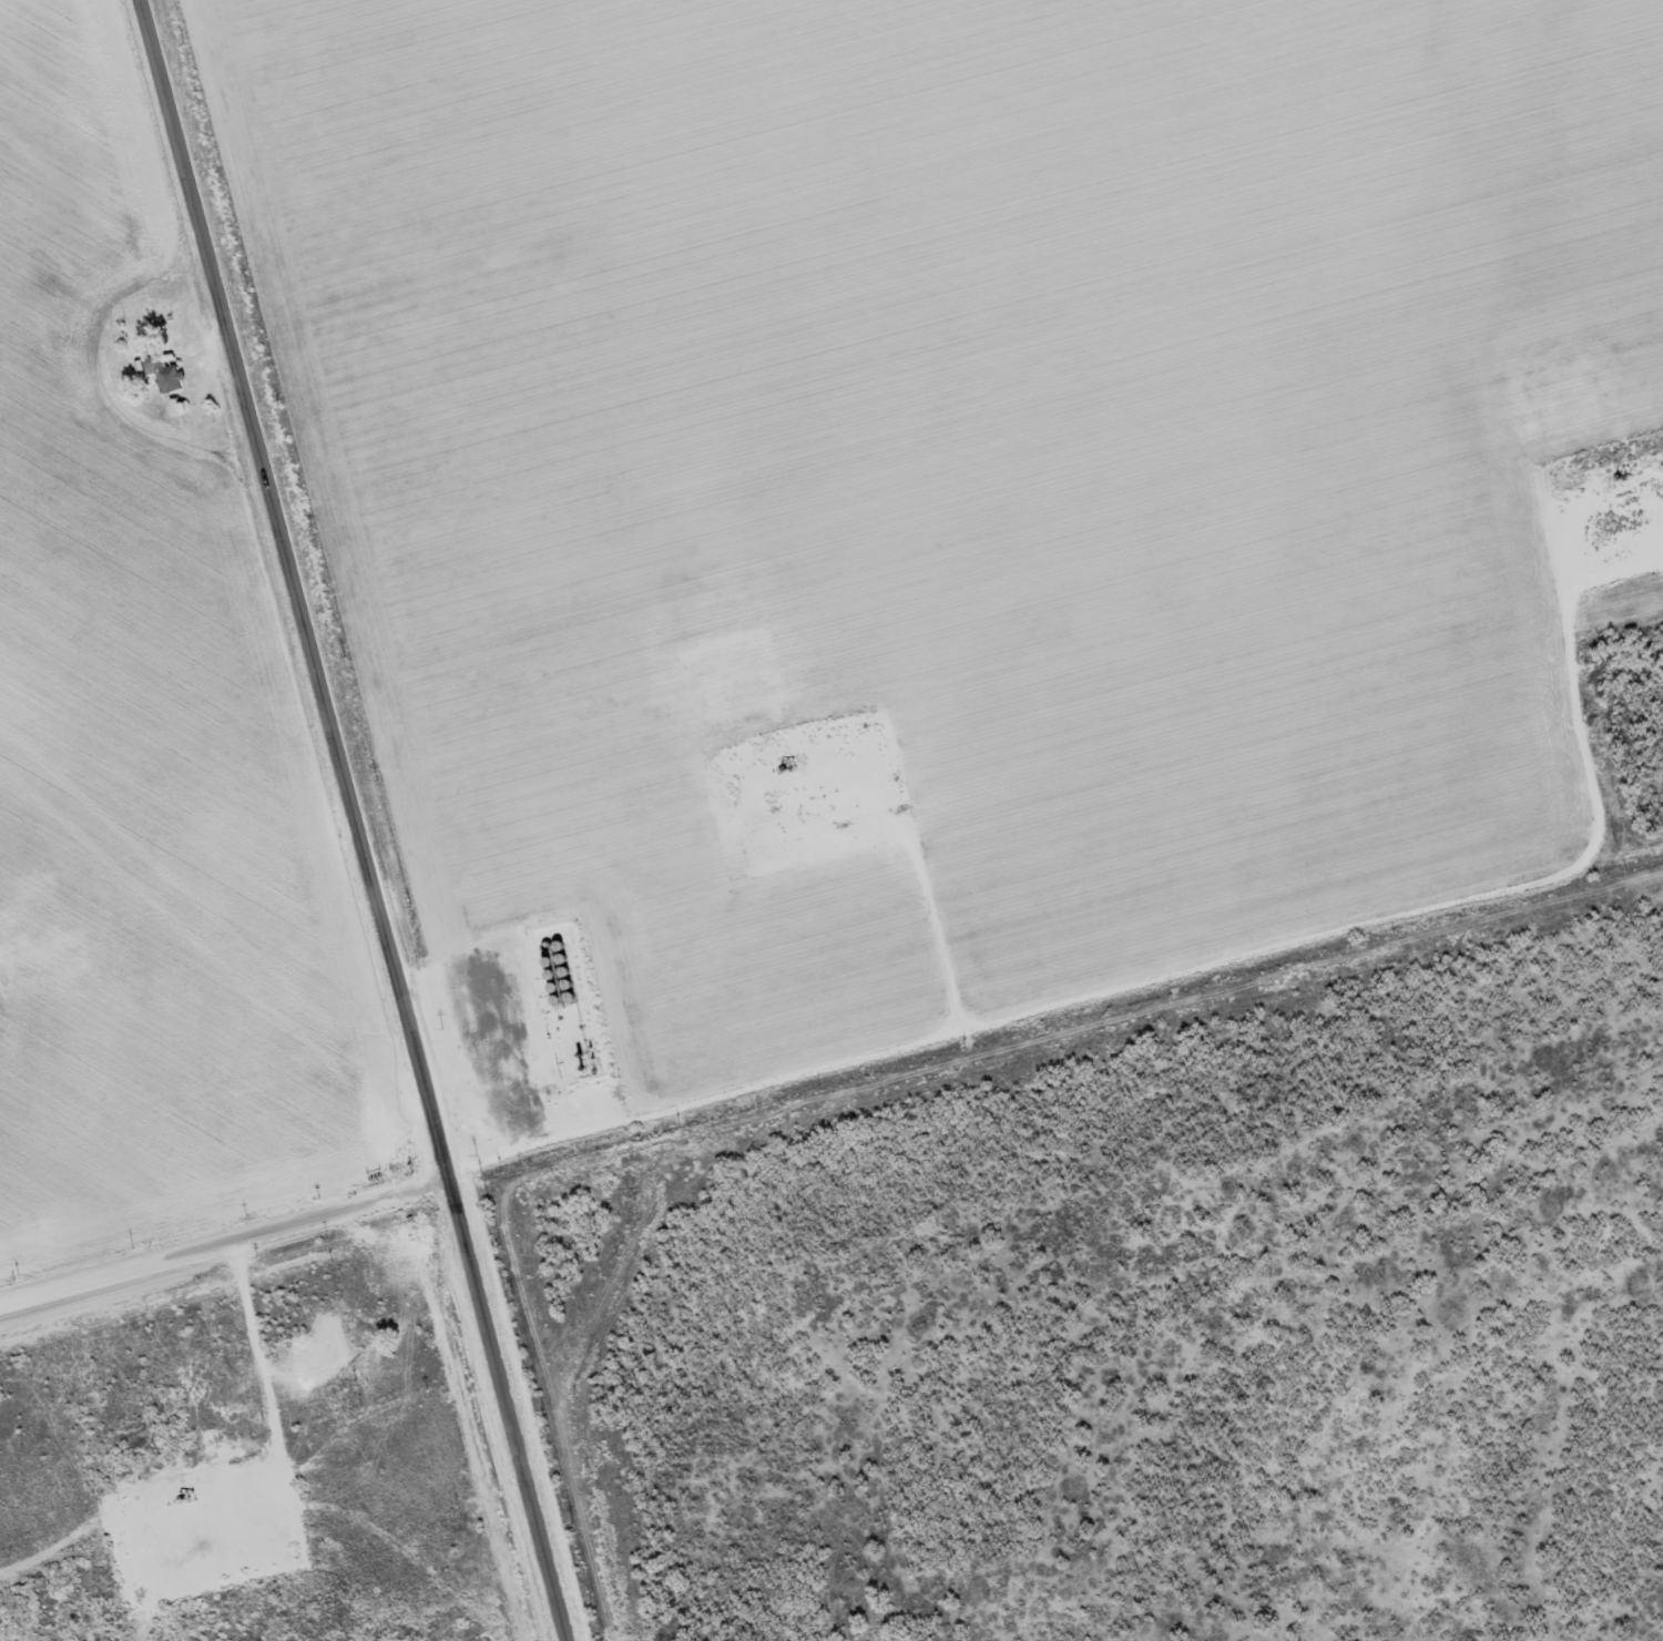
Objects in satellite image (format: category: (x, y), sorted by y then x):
building: (166, 371)
road: (272, 595)
road: (428, 1225)
road: (212, 1287)
road: (497, 1443)

